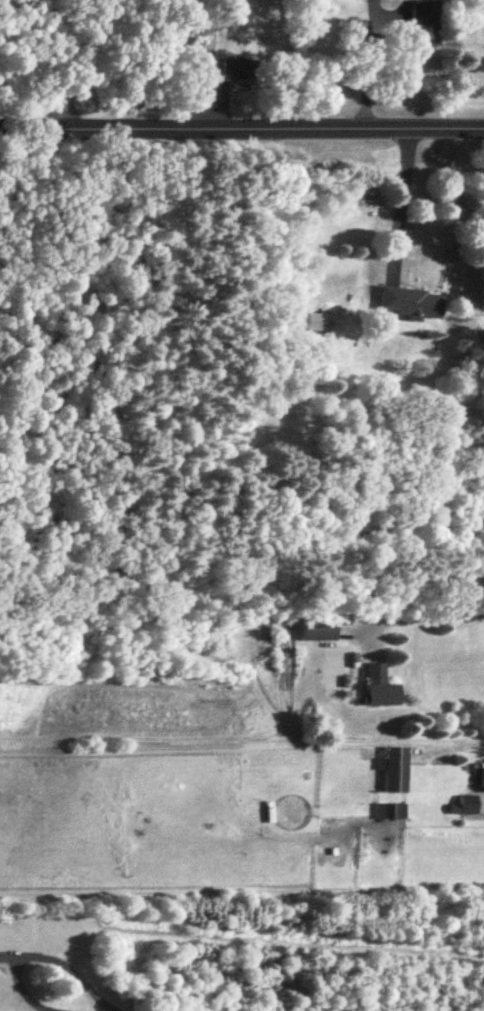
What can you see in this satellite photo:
building: (423, 20)
road: (86, 62)
road: (368, 62)
building: (234, 67)
road: (241, 125)
road: (401, 192)
building: (409, 301)
building: (315, 320)
road: (432, 613)
building: (315, 628)
building: (376, 684)
building: (392, 767)
building: (481, 774)
road: (480, 798)
building: (463, 804)
building: (389, 809)
road: (43, 959)

